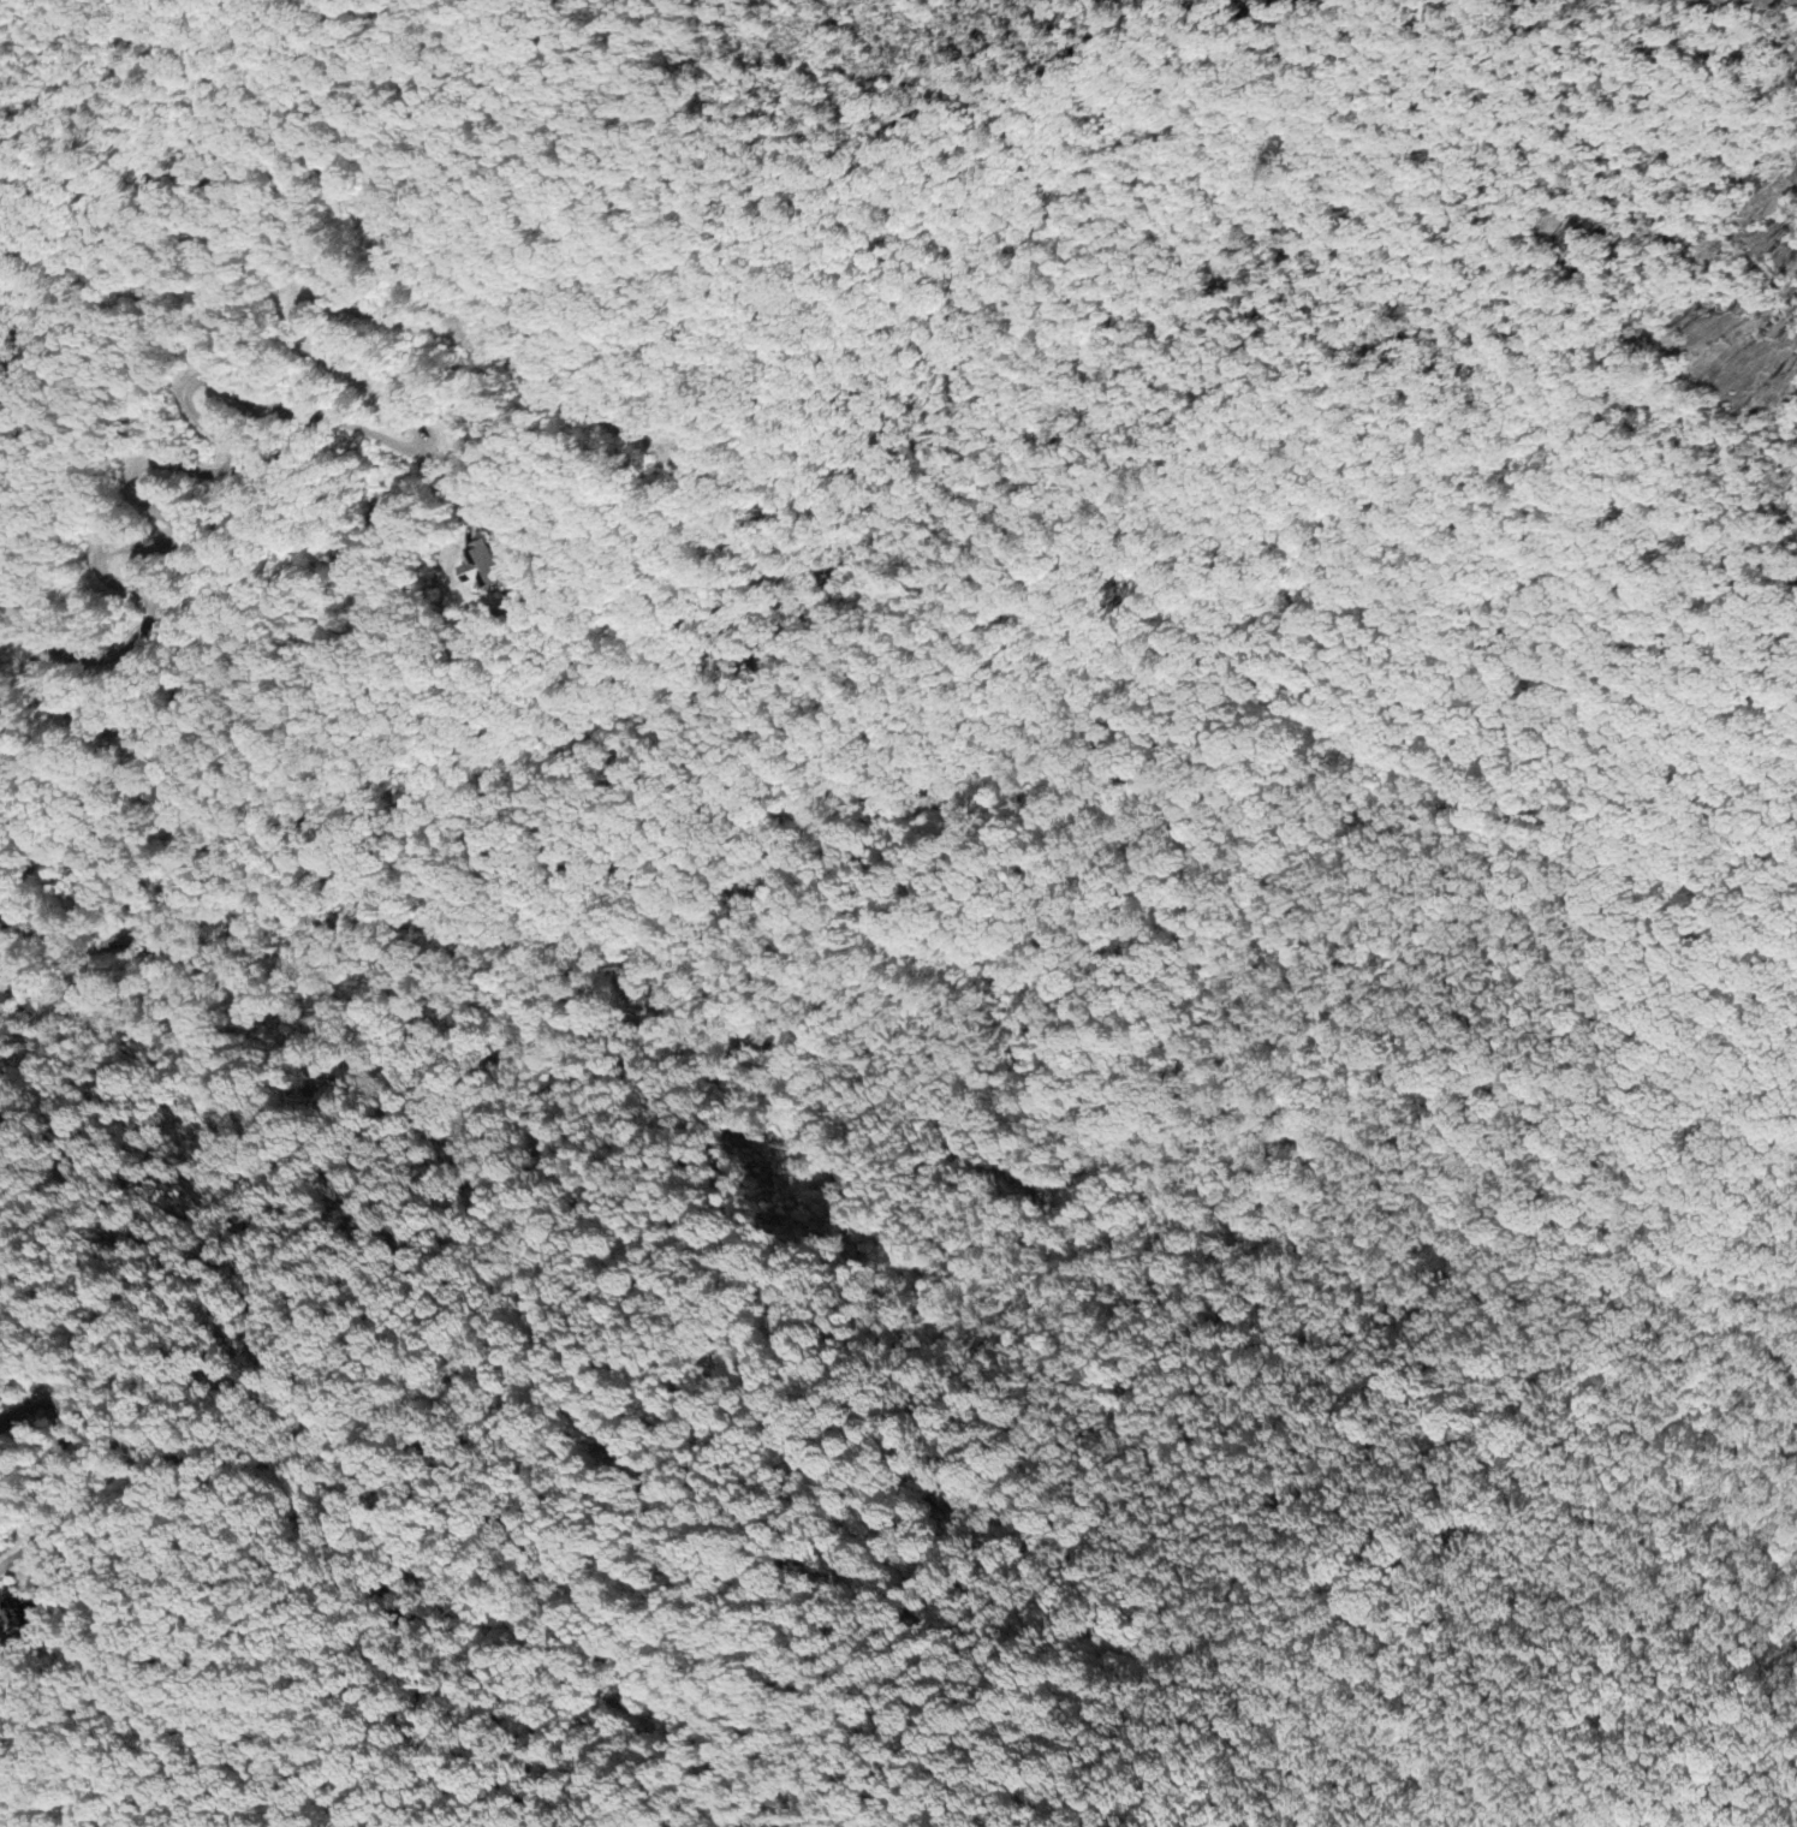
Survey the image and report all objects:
building: (486, 571)
road: (79, 947)

